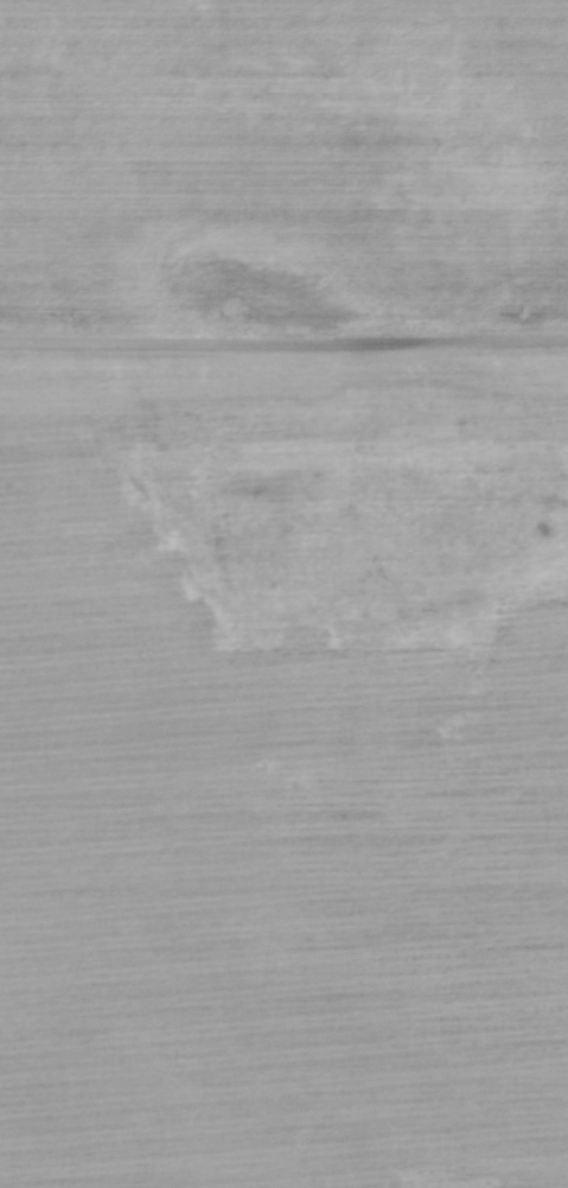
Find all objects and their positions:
road: (283, 344)
crop: (283, 767)

